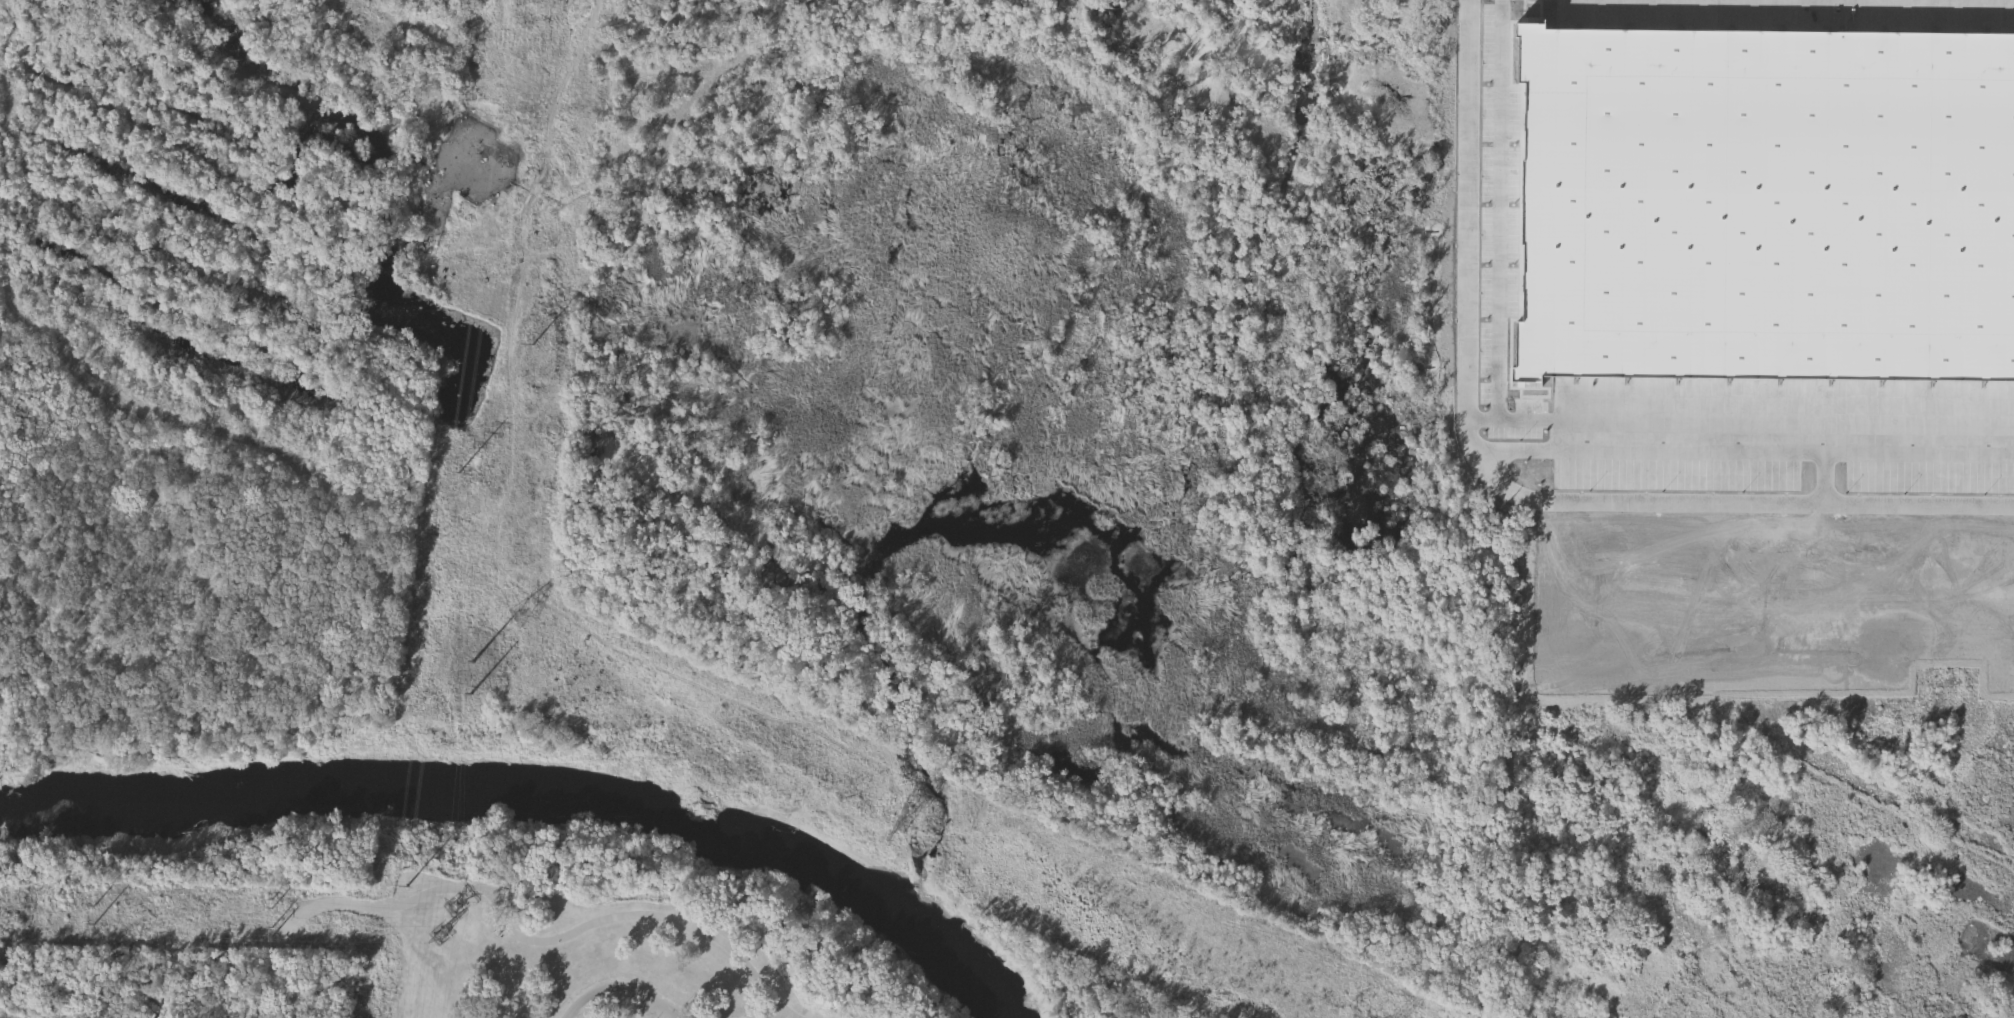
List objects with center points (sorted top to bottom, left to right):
building: (1556, 19)
building: (1548, 121)
power tower: (535, 349)
power tower: (460, 472)
power tower: (497, 528)
power tower: (524, 617)
power tower: (471, 662)
river: (523, 791)
power tower: (908, 823)
power tower: (410, 892)
power tower: (455, 907)
power tower: (86, 920)
park: (421, 926)
road: (507, 927)
power tower: (443, 937)
road: (624, 990)

